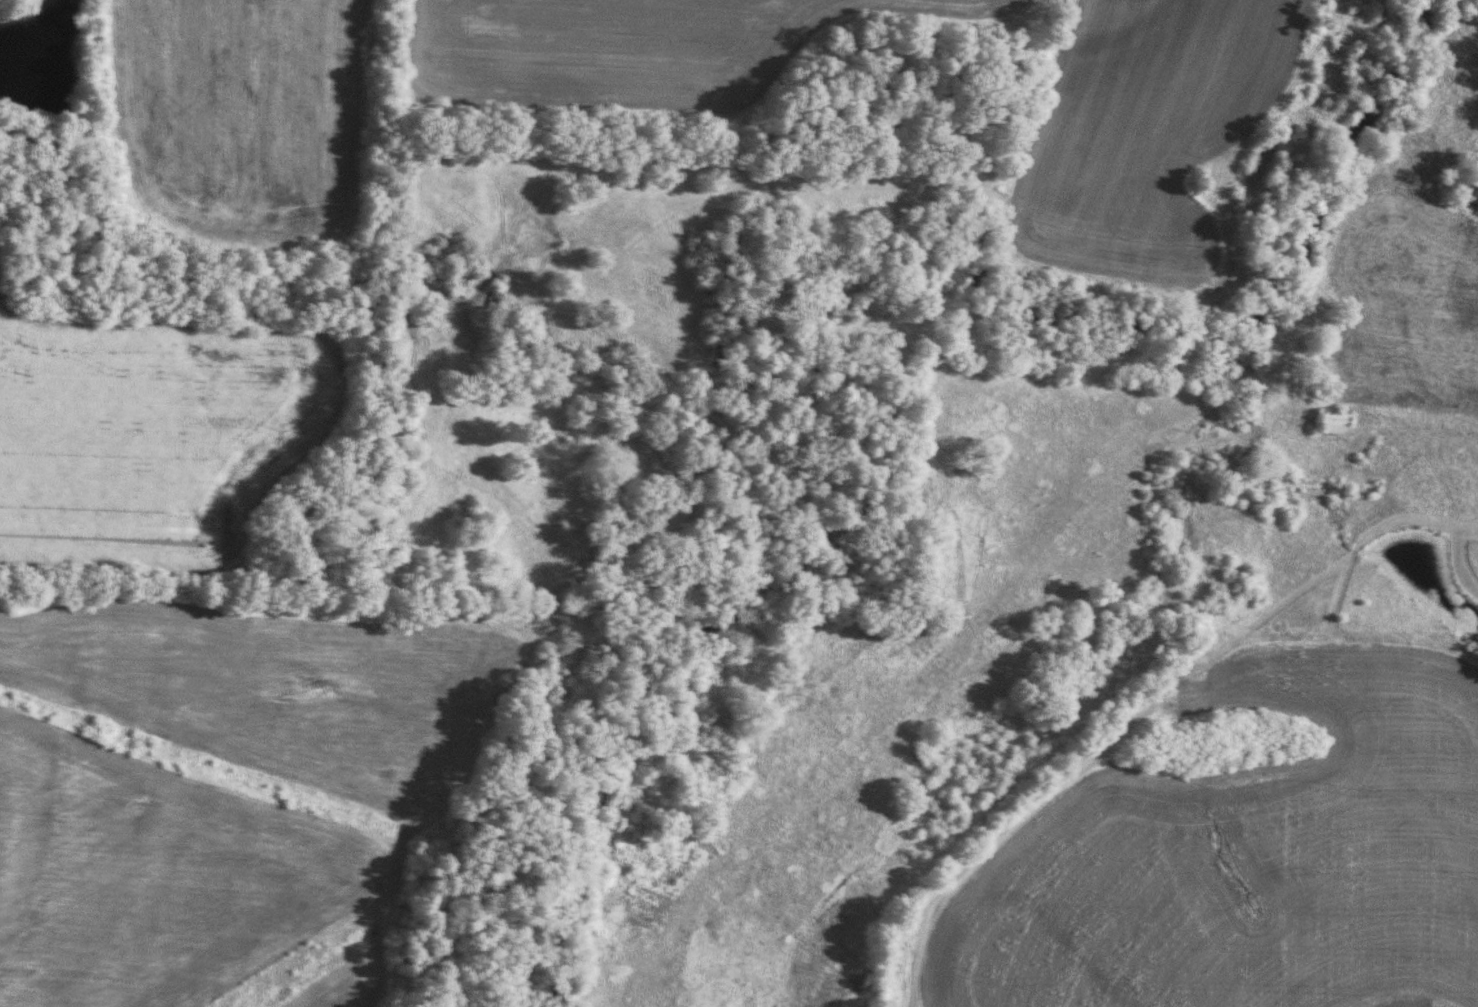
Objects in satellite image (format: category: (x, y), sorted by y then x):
building: (1340, 422)

